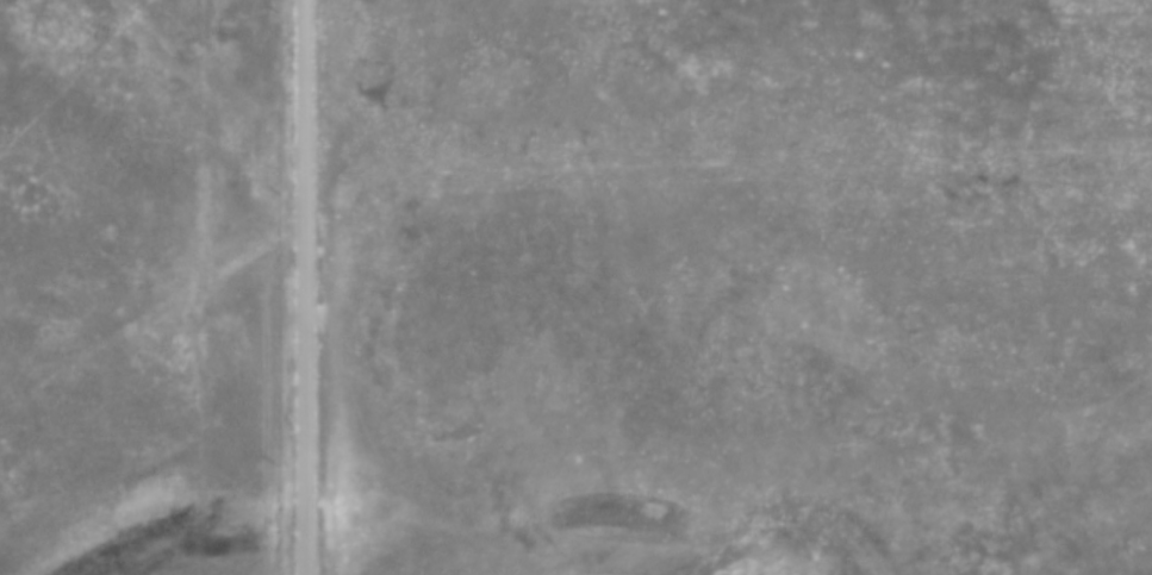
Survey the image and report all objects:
road: (305, 287)

